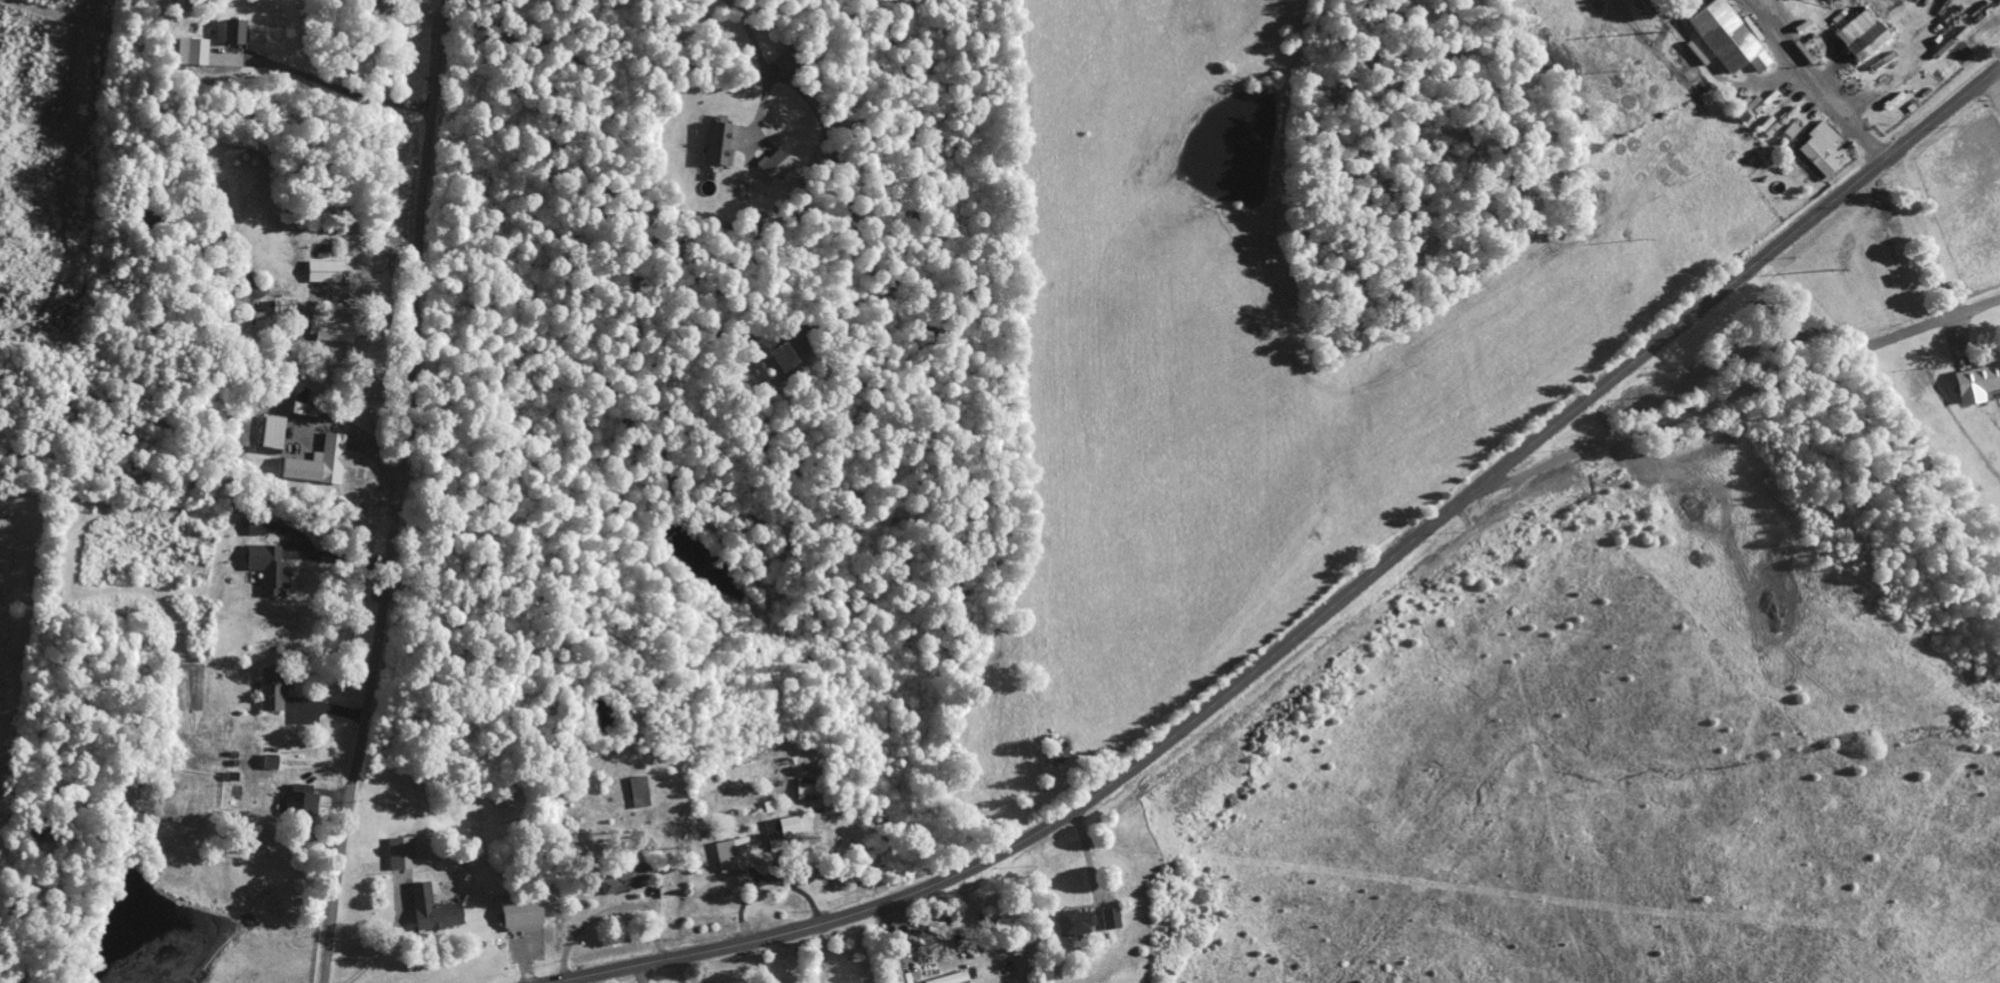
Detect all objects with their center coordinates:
building: (1749, 29)
building: (228, 31)
building: (1860, 35)
building: (1725, 37)
building: (194, 51)
building: (1780, 117)
building: (1794, 130)
building: (718, 144)
building: (1820, 148)
building: (773, 165)
road: (1968, 212)
building: (328, 330)
building: (1975, 383)
road: (1736, 396)
building: (273, 432)
building: (319, 463)
road: (400, 493)
building: (268, 568)
road: (1323, 614)
building: (279, 687)
building: (1059, 749)
building: (640, 791)
building: (301, 803)
building: (788, 825)
building: (401, 852)
building: (733, 854)
building: (624, 879)
building: (432, 909)
building: (520, 913)
building: (1112, 918)
building: (1076, 922)
building: (899, 973)
building: (951, 978)

